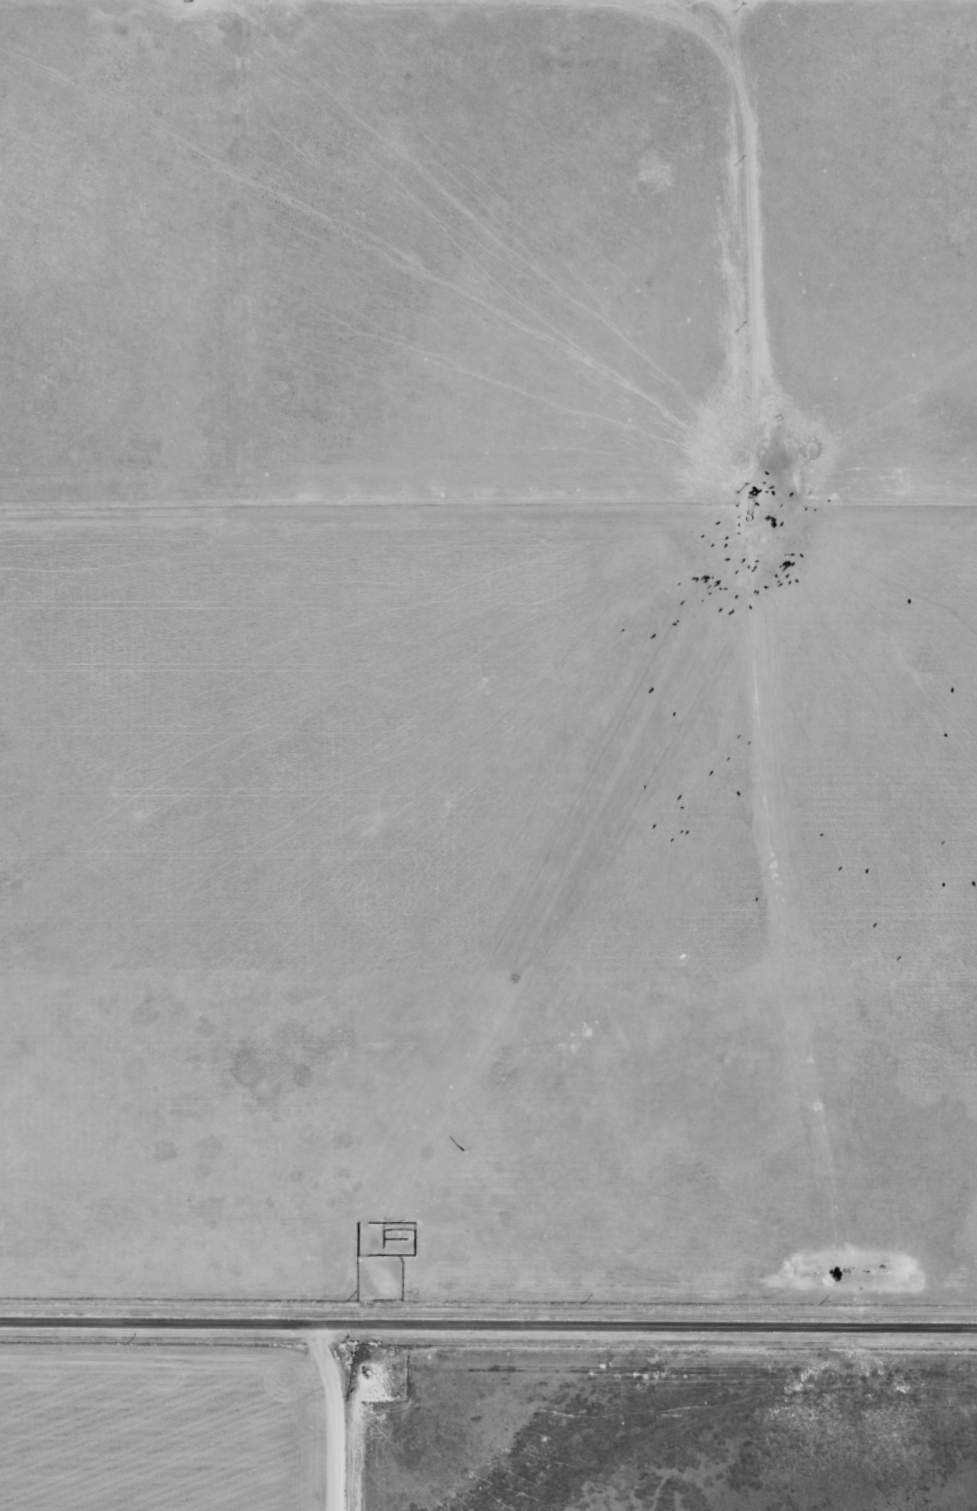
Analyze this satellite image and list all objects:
road: (488, 1322)

